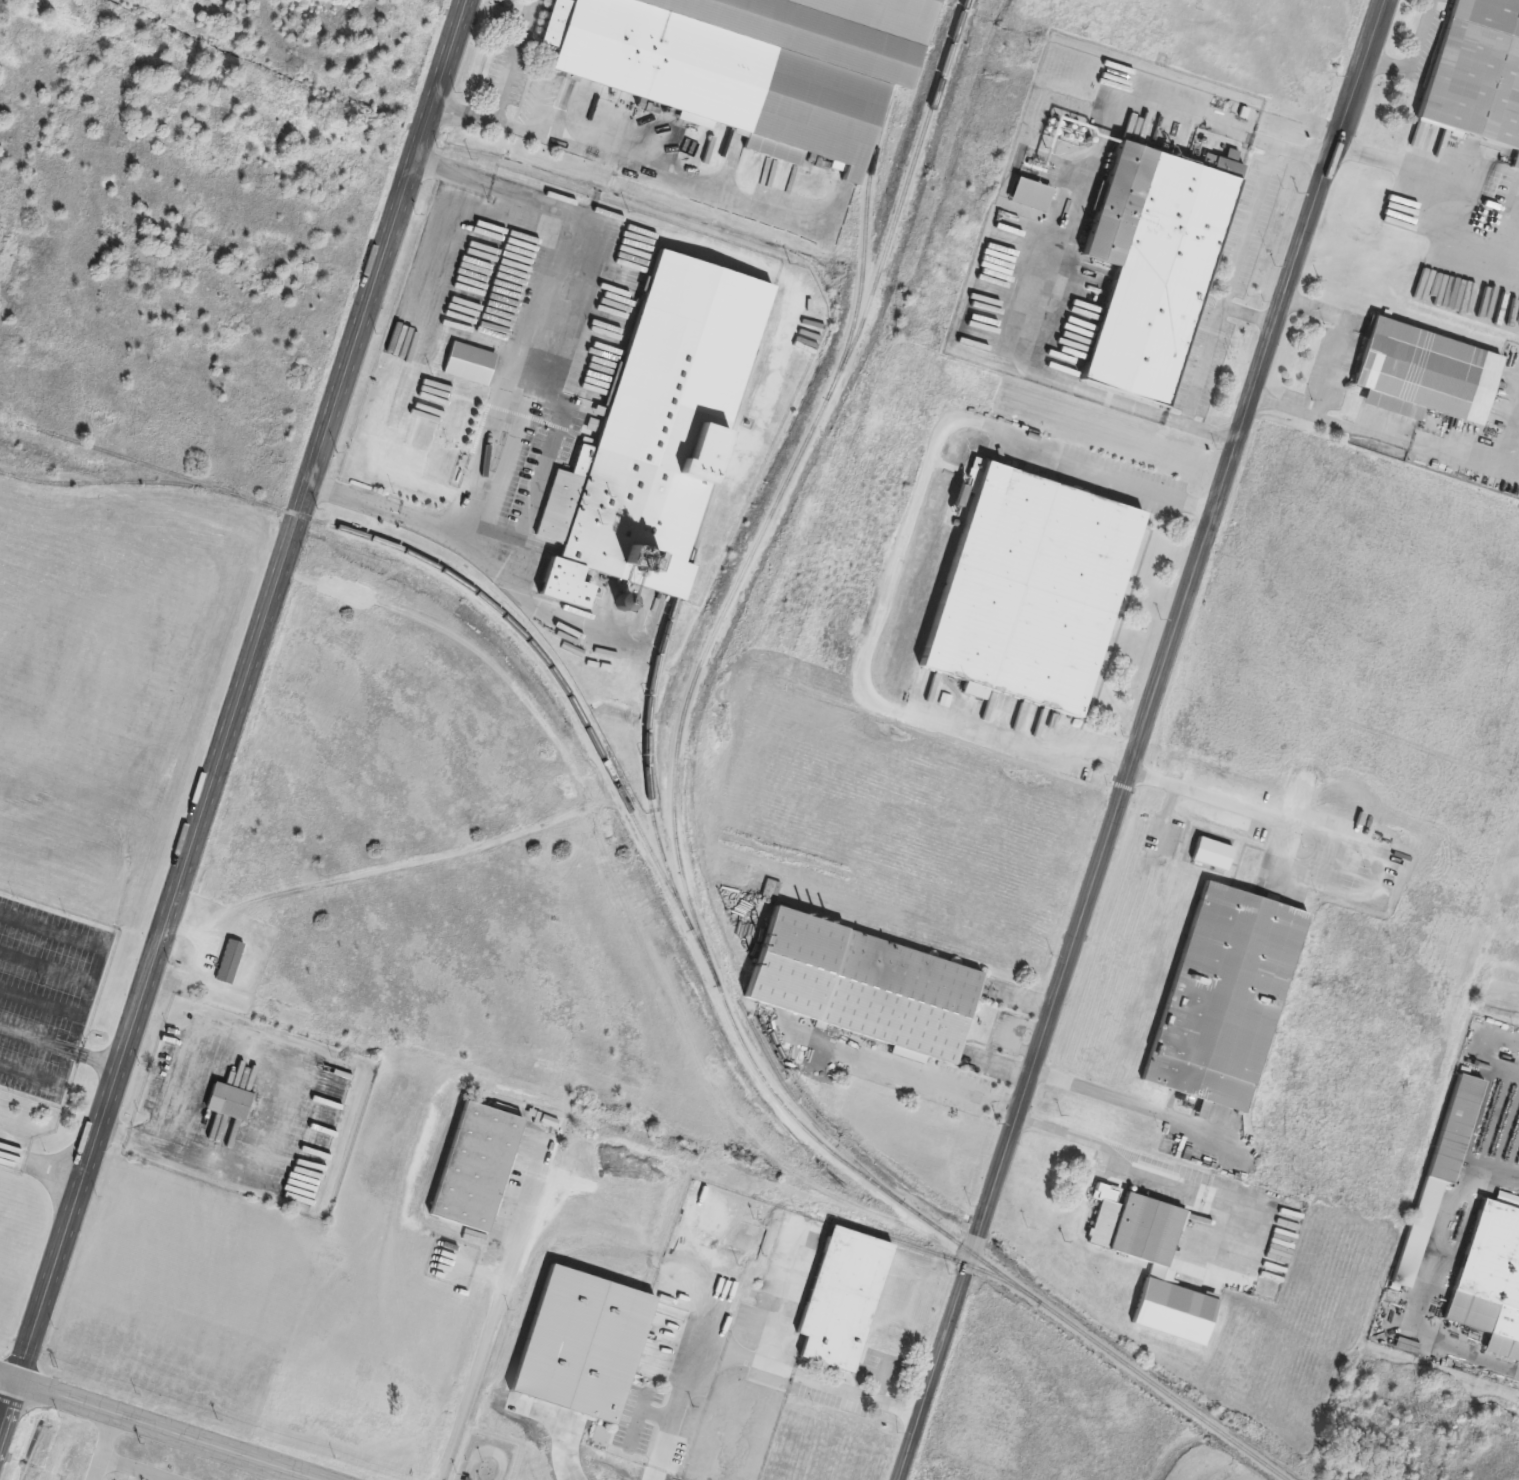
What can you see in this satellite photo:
road: (1412, 52)
building: (747, 64)
building: (1475, 74)
road: (501, 88)
railway: (869, 191)
road: (1432, 194)
building: (1518, 197)
building: (1150, 264)
road: (758, 265)
road: (1228, 288)
road: (1250, 317)
road: (1344, 335)
building: (468, 363)
road: (387, 369)
building: (1423, 373)
road: (522, 380)
road: (1331, 421)
building: (659, 429)
road: (1479, 463)
road: (544, 470)
road: (481, 552)
road: (904, 555)
building: (1027, 589)
building: (568, 627)
railway: (658, 661)
railway: (550, 663)
road: (232, 716)
road: (1144, 740)
road: (1327, 834)
railway: (680, 849)
building: (230, 962)
building: (859, 984)
building: (1222, 996)
road: (287, 1098)
building: (228, 1101)
road: (1134, 1104)
railway: (814, 1118)
road: (1163, 1164)
building: (473, 1166)
building: (1439, 1168)
building: (1134, 1228)
railway: (945, 1255)
building: (1488, 1274)
road: (1429, 1280)
road: (784, 1295)
building: (840, 1298)
road: (495, 1310)
building: (579, 1344)
road: (757, 1361)
road: (158, 1427)
road: (104, 1446)
road: (134, 1469)
road: (299, 1477)

